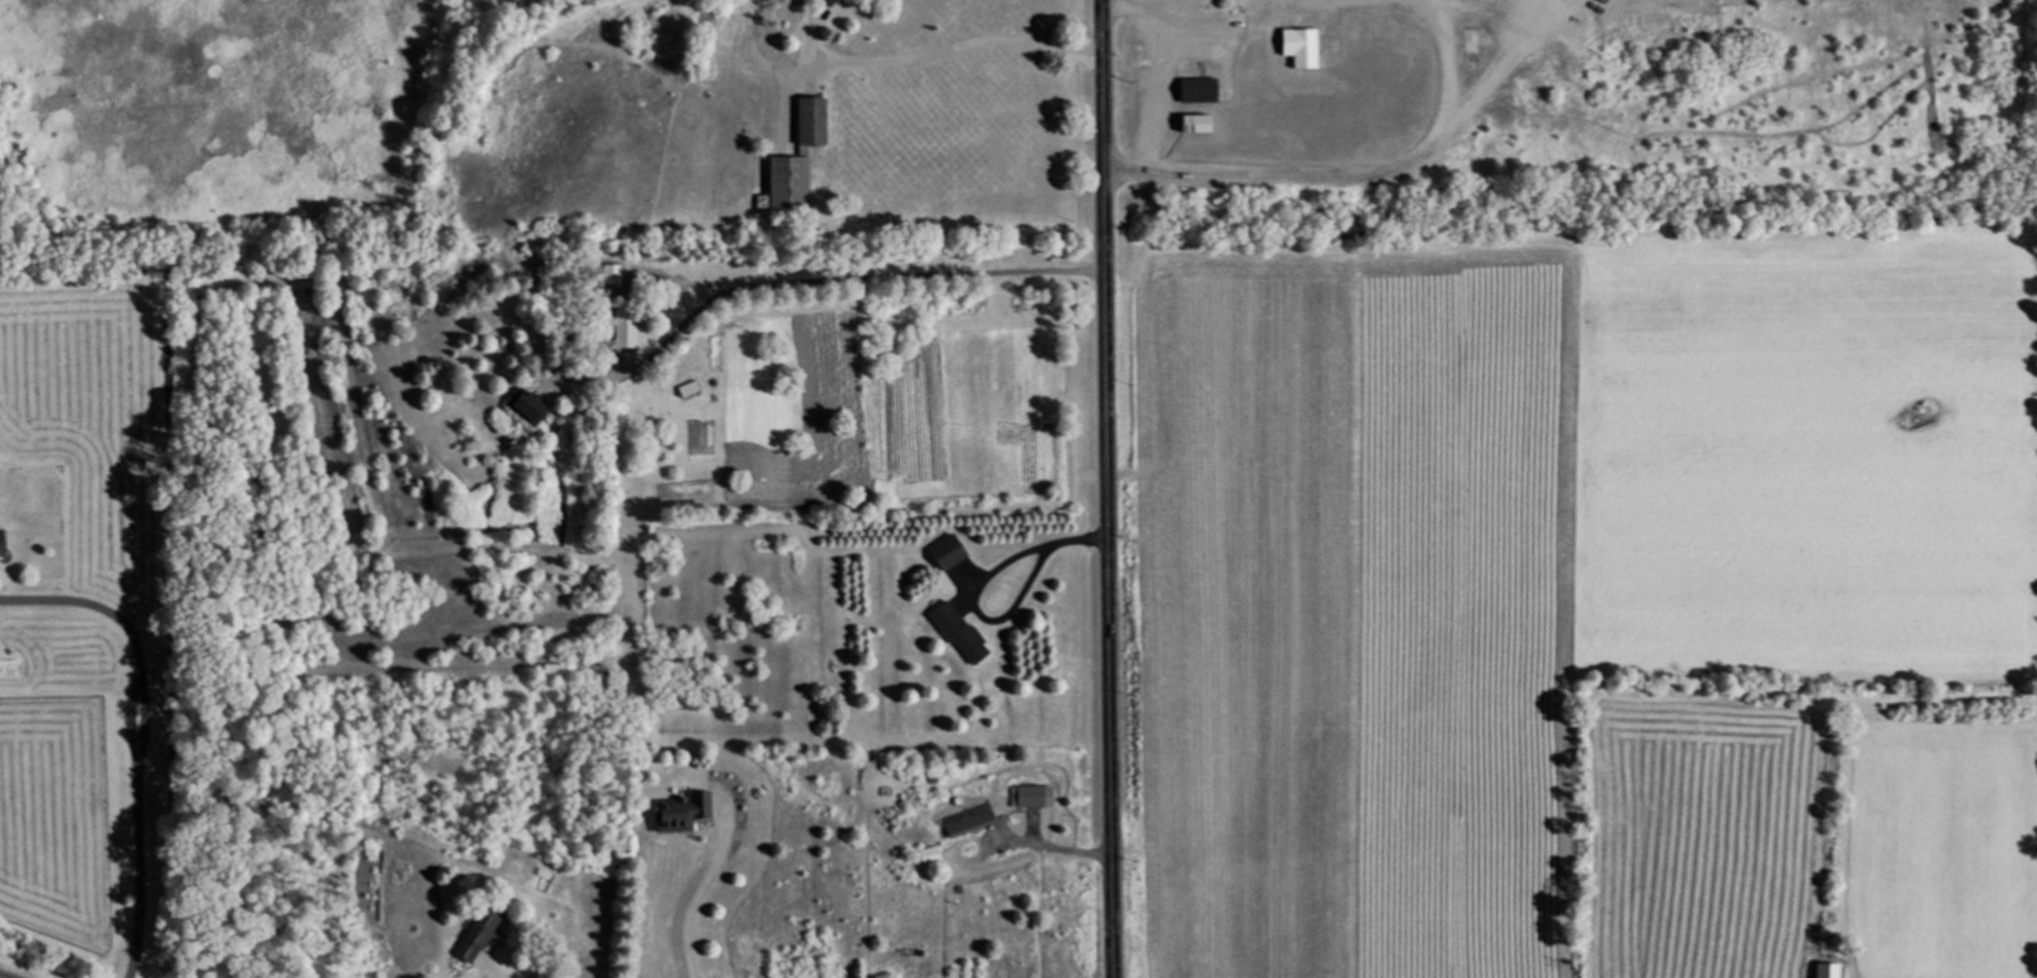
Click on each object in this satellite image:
building: (836, 3)
building: (1468, 41)
road: (956, 47)
building: (1298, 70)
building: (1193, 91)
building: (1191, 125)
building: (806, 159)
building: (617, 276)
road: (817, 279)
building: (630, 325)
building: (695, 390)
building: (533, 408)
road: (1106, 488)
building: (7, 545)
building: (955, 553)
road: (137, 732)
building: (1034, 797)
building: (686, 813)
building: (976, 819)
road: (696, 895)
building: (486, 934)
road: (493, 969)
building: (1822, 970)

